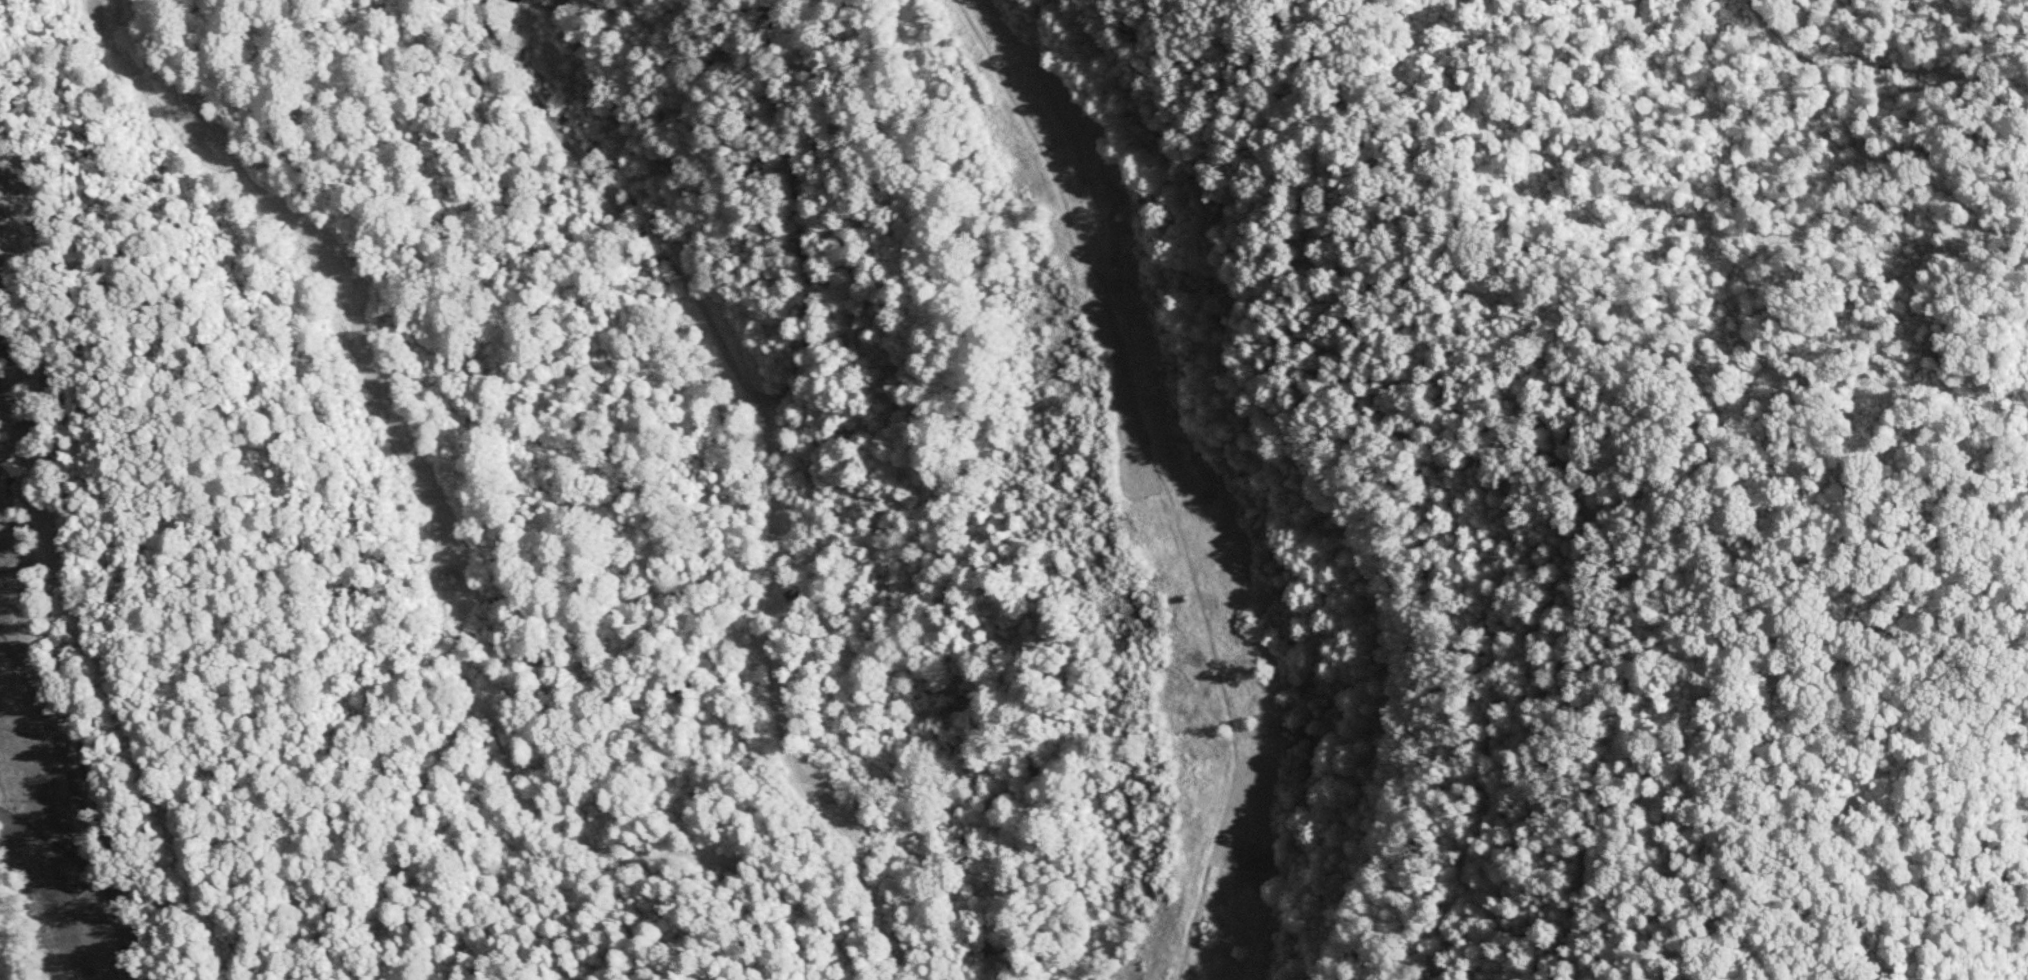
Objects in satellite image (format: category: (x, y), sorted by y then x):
building: (788, 598)

